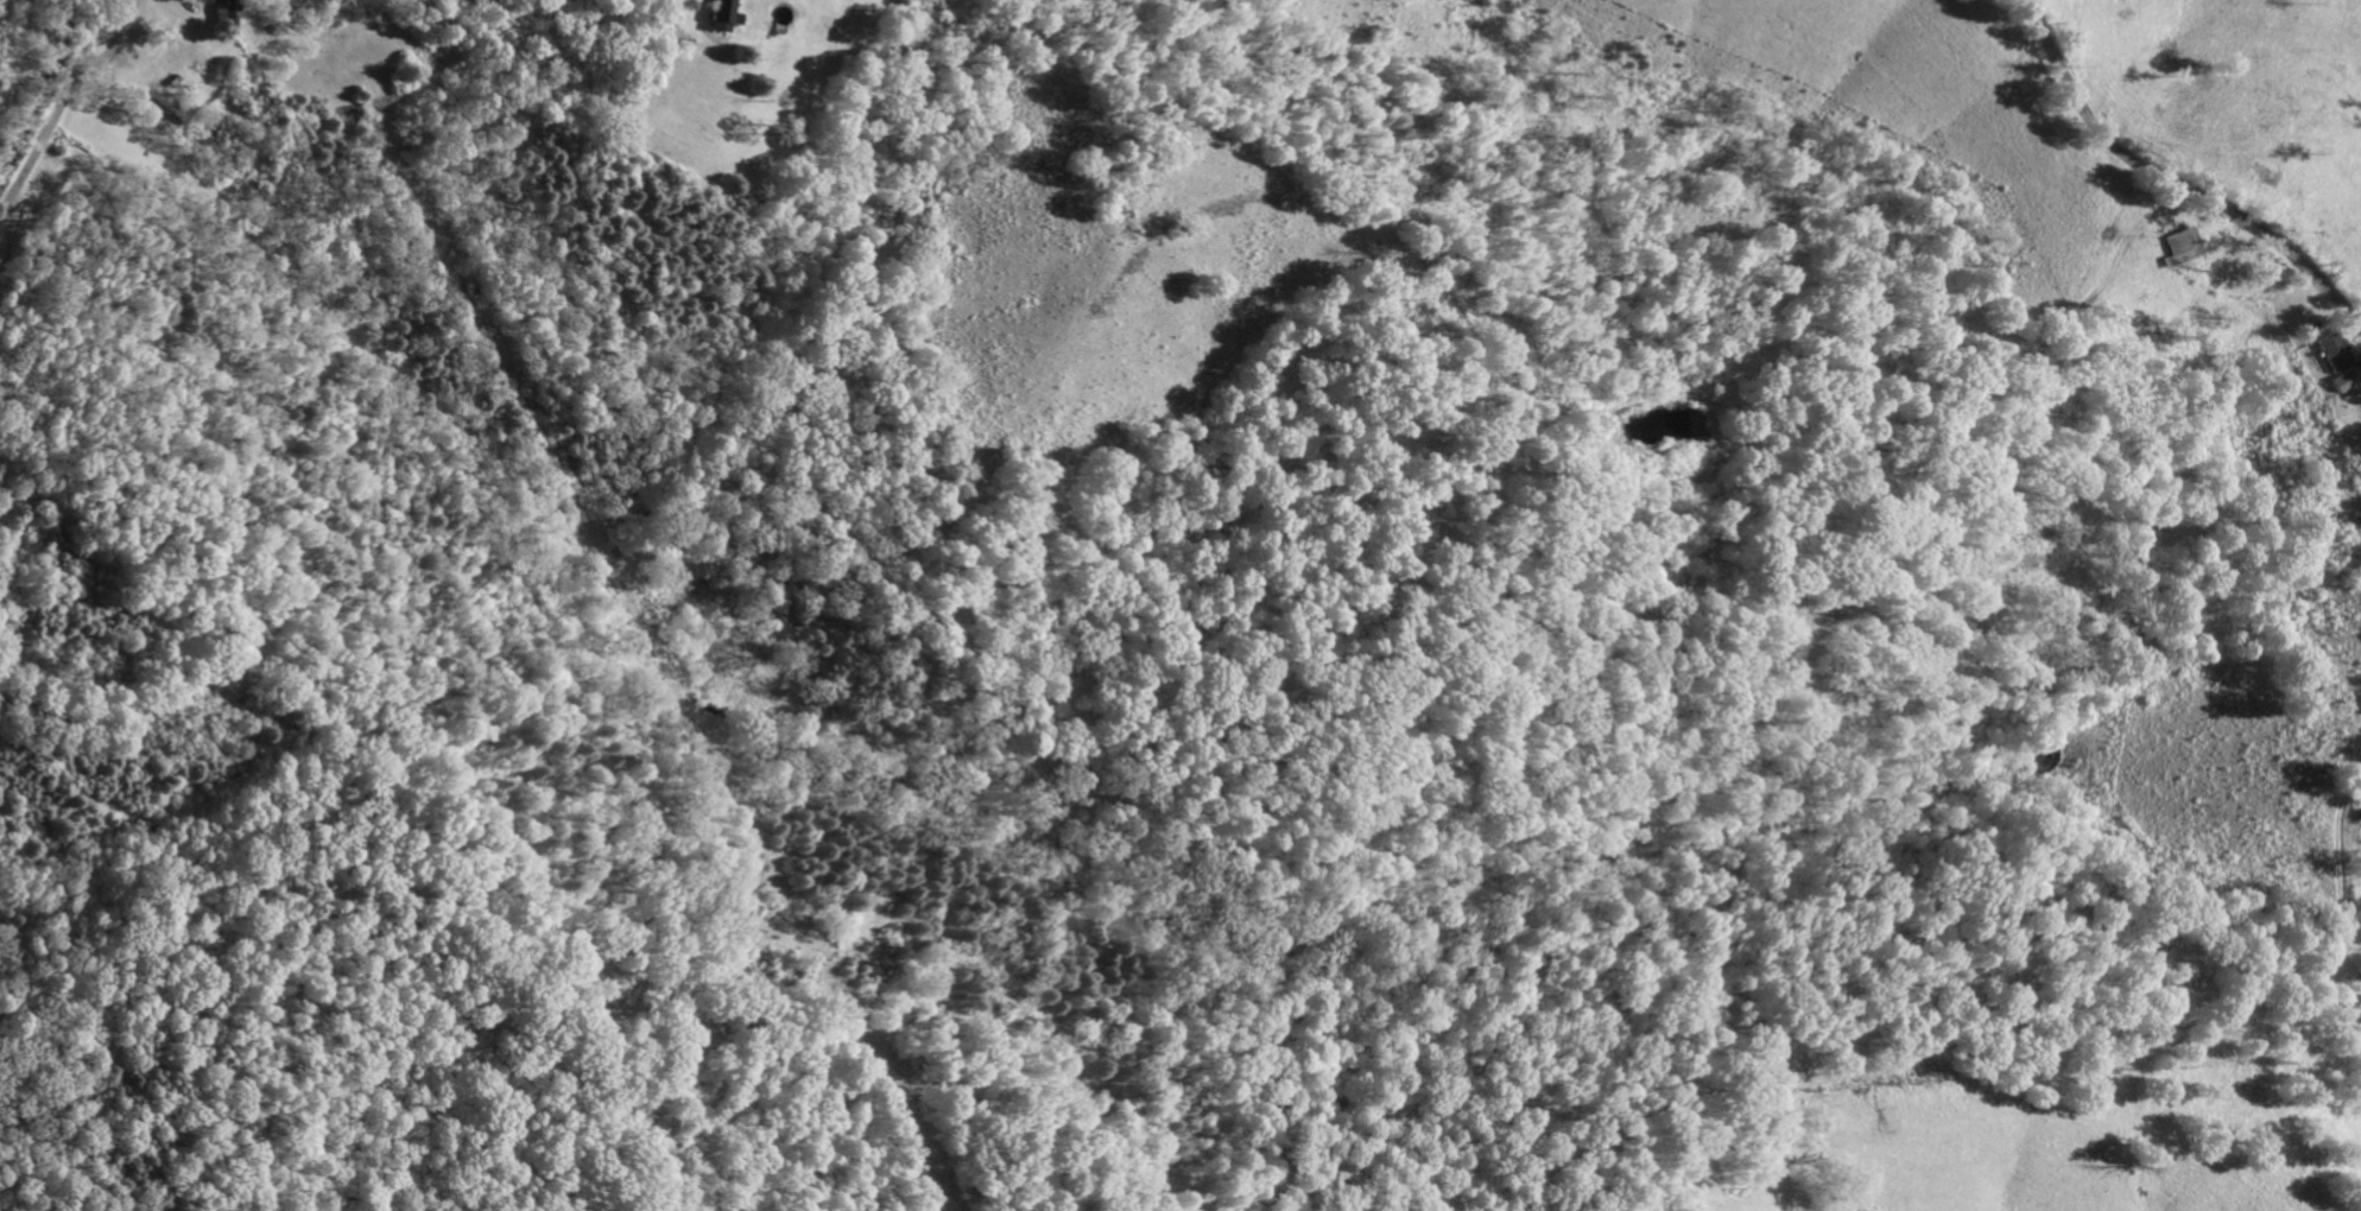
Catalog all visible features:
building: (233, 12)
building: (722, 15)
road: (112, 43)
road: (55, 109)
road: (2166, 182)
building: (2337, 353)
building: (2360, 817)

